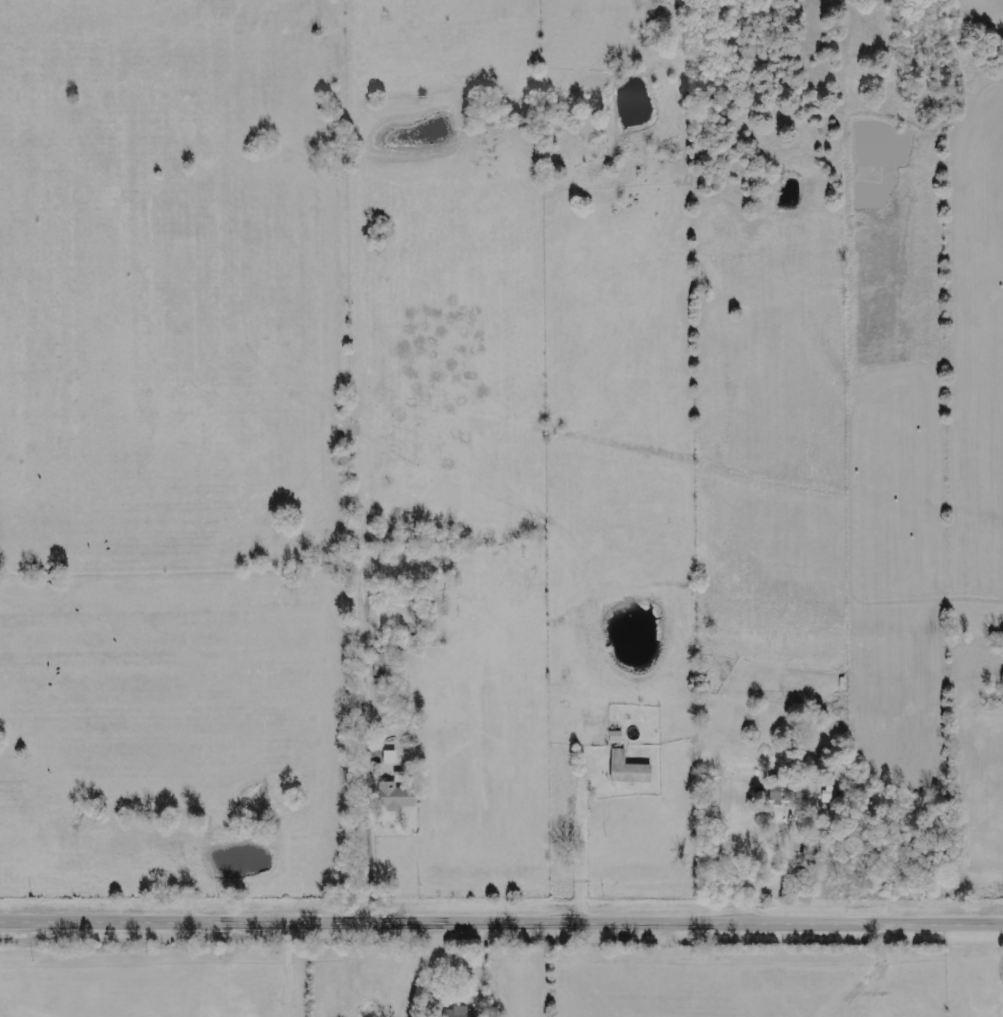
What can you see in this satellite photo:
building: (390, 757)
building: (629, 769)
building: (841, 773)
building: (785, 790)
building: (396, 796)
building: (827, 796)
road: (501, 924)
building: (461, 1012)

